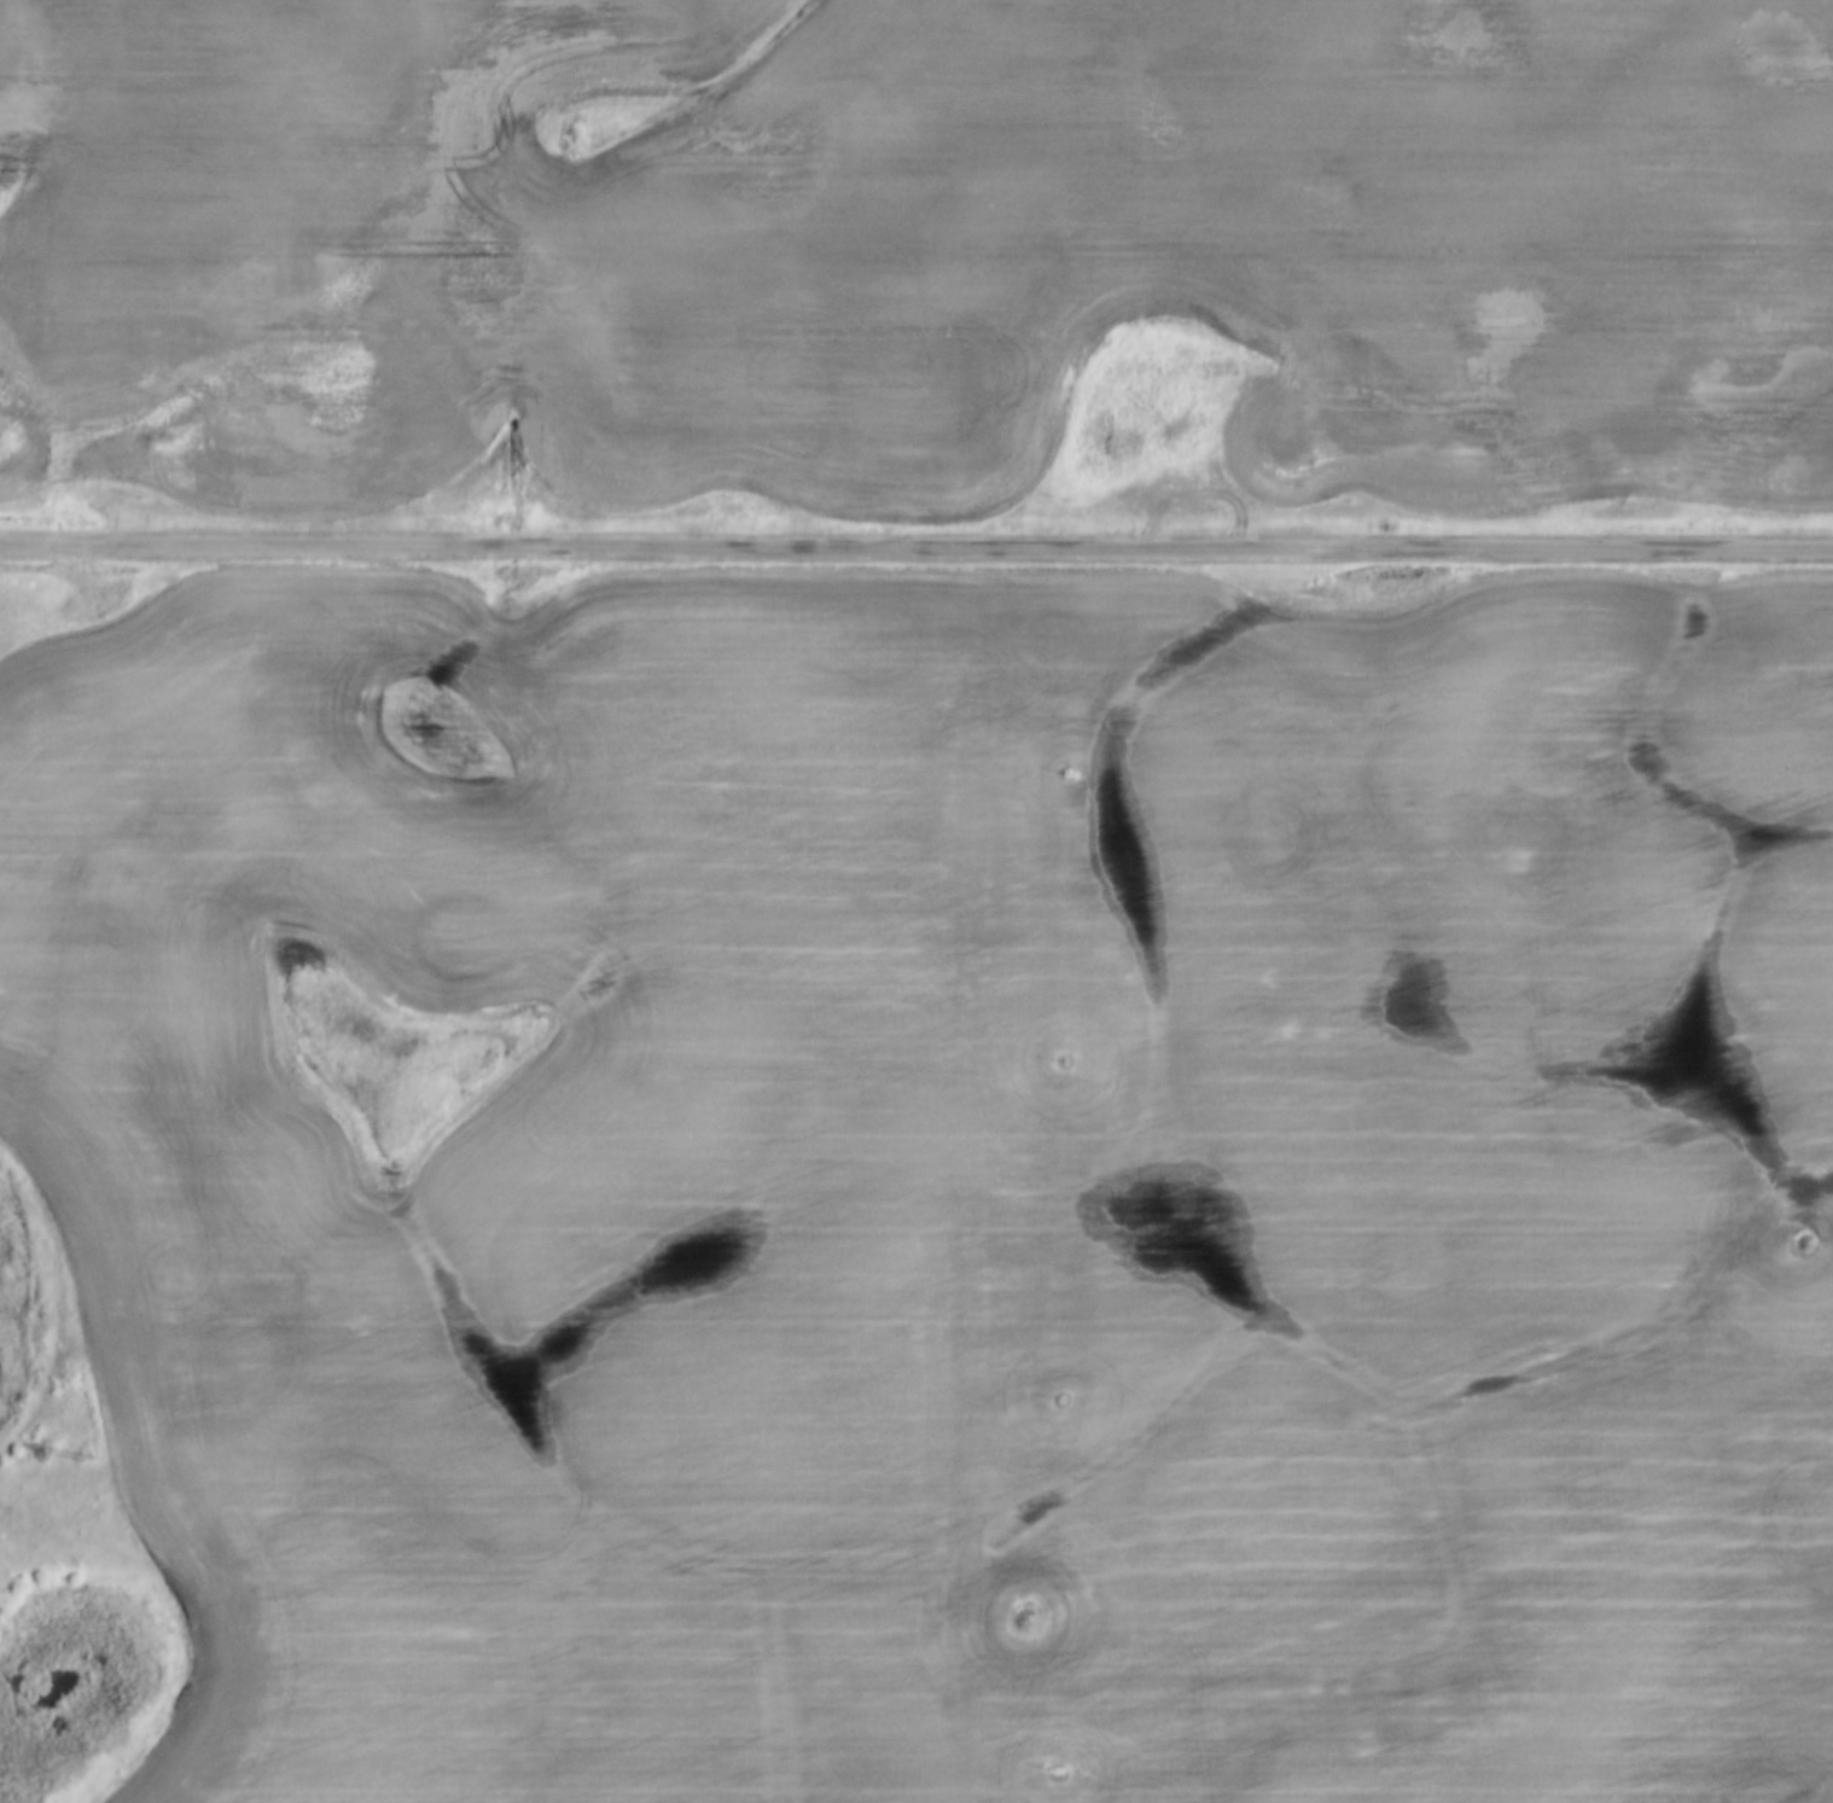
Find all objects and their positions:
road: (915, 546)

